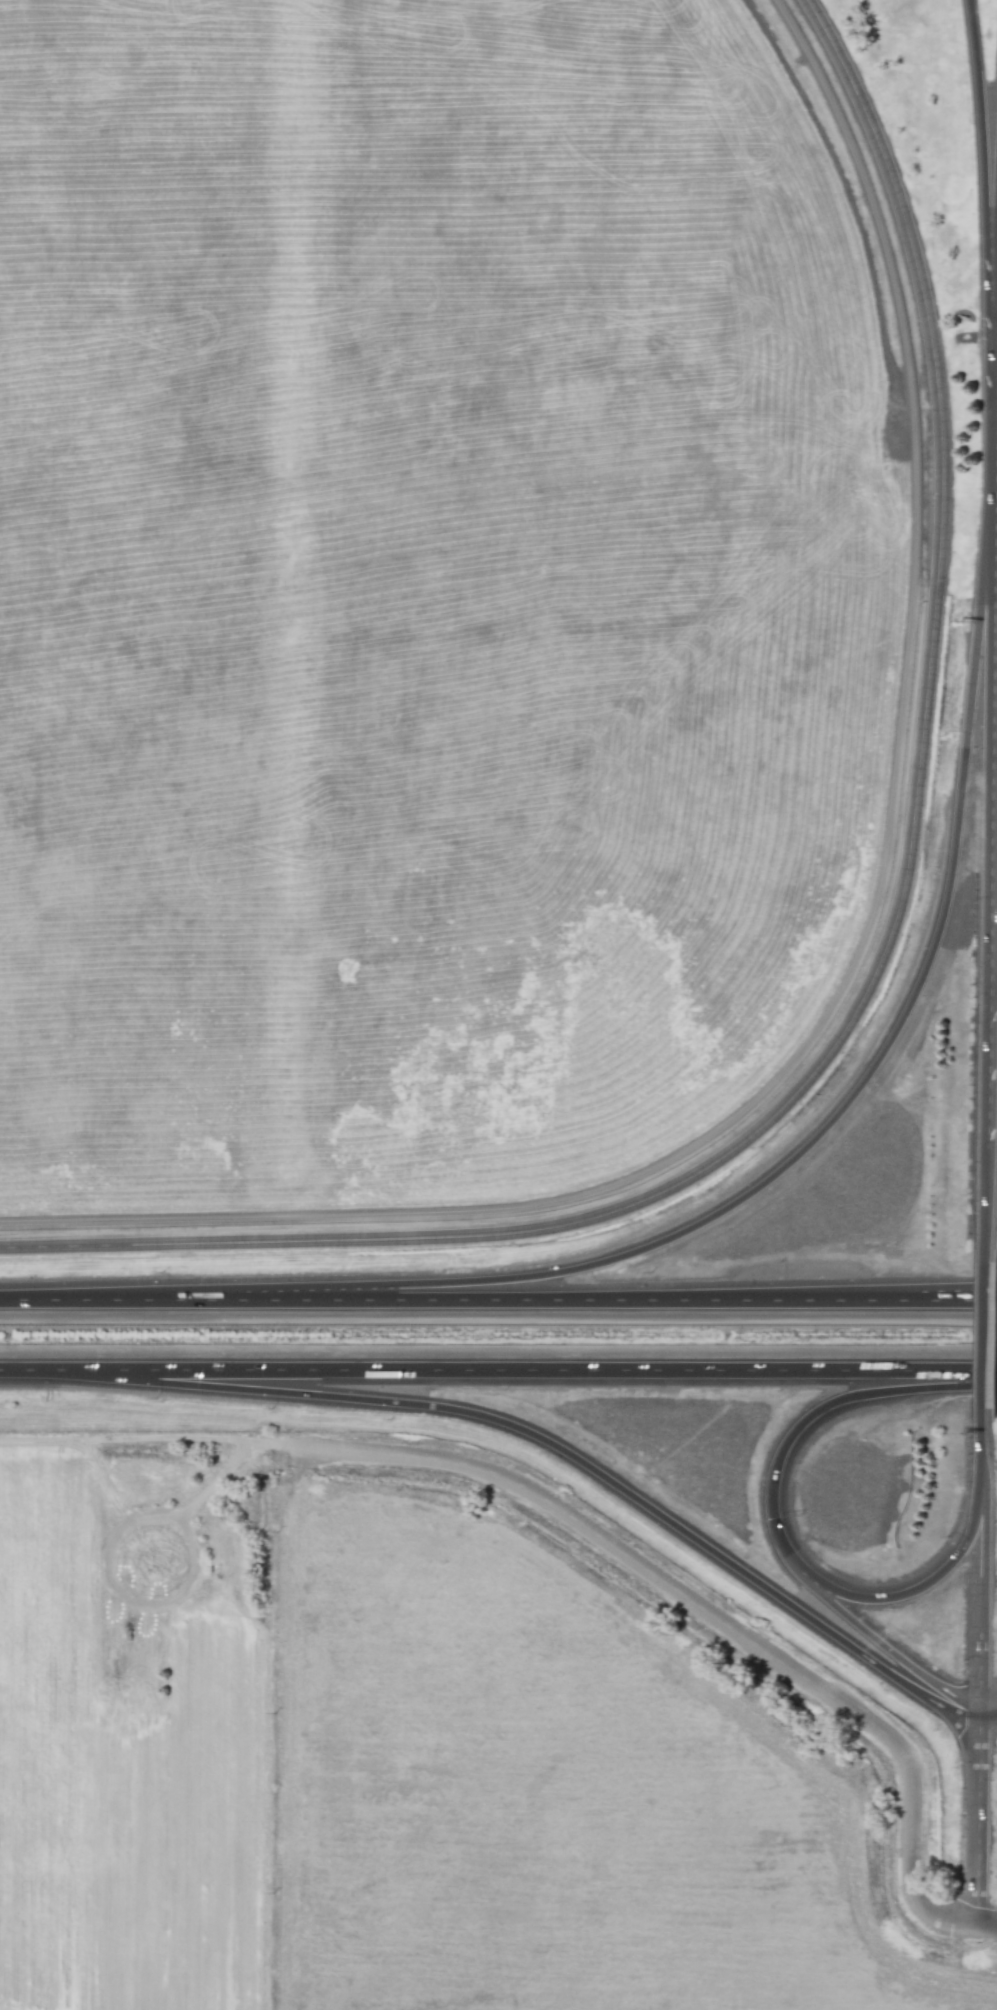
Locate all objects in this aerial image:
road: (858, 104)
road: (979, 131)
road: (994, 396)
airport: (499, 622)
road: (992, 806)
road: (909, 869)
road: (993, 957)
road: (841, 1111)
road: (986, 1185)
road: (215, 1243)
road: (958, 1296)
road: (121, 1300)
road: (581, 1301)
road: (958, 1301)
road: (983, 1335)
road: (30, 1369)
road: (528, 1372)
road: (556, 1449)
road: (981, 1451)
road: (776, 1525)
road: (980, 1532)
road: (718, 1617)
road: (979, 1643)
road: (883, 1648)
road: (988, 1703)
road: (979, 1713)
road: (988, 1723)
crop: (129, 1777)
crop: (546, 1798)
road: (977, 1826)

